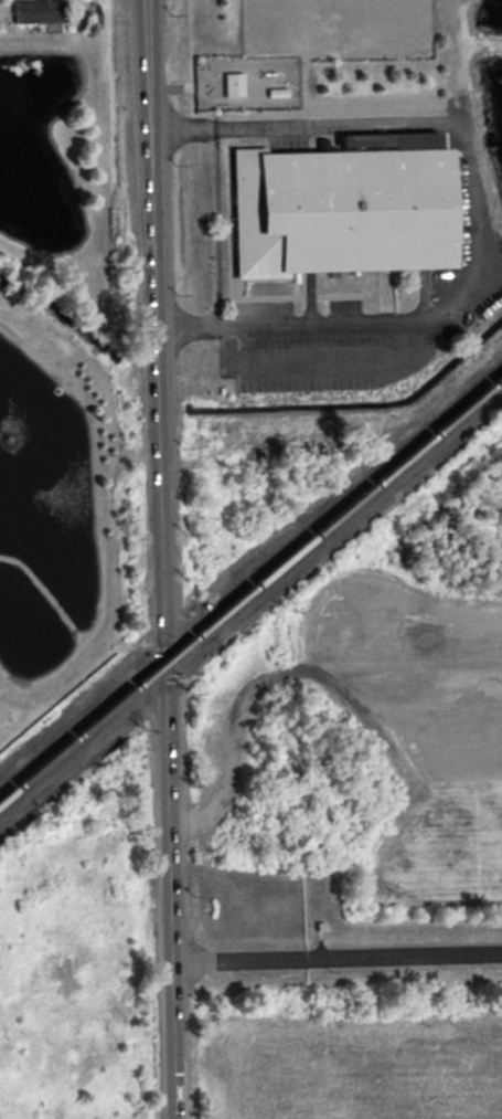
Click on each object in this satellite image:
building: (36, 11)
building: (233, 83)
road: (245, 128)
building: (341, 210)
road: (157, 266)
road: (288, 328)
railway: (250, 589)
road: (165, 597)
road: (168, 711)
road: (173, 941)
road: (405, 958)
road: (241, 961)

